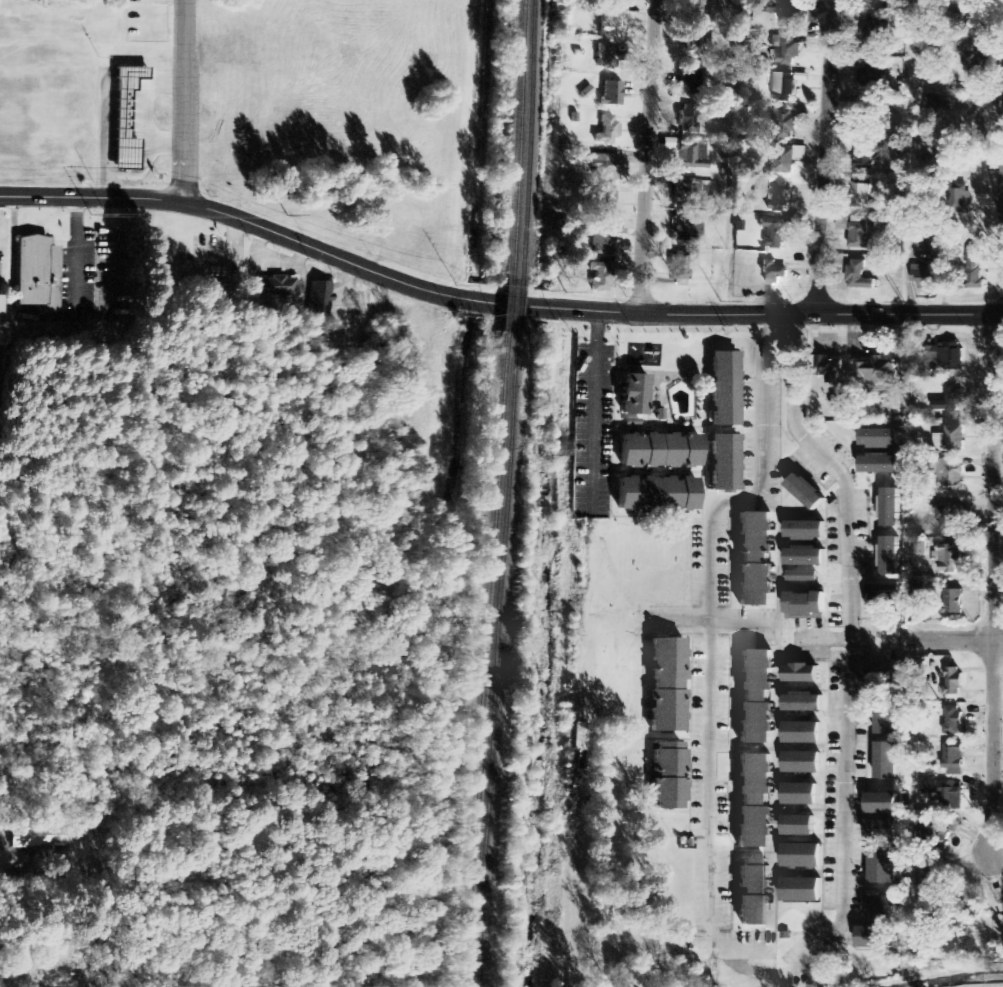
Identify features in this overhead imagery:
building: (691, 11)
building: (783, 12)
building: (611, 22)
building: (877, 28)
building: (698, 45)
building: (786, 50)
building: (608, 56)
building: (972, 61)
building: (872, 79)
building: (690, 83)
building: (783, 88)
building: (585, 92)
building: (610, 93)
road: (182, 102)
building: (688, 119)
building: (785, 123)
building: (606, 131)
railway: (517, 139)
railway: (527, 140)
building: (690, 154)
road: (648, 156)
road: (825, 156)
building: (867, 156)
building: (786, 160)
road: (995, 161)
building: (603, 167)
building: (686, 192)
building: (861, 196)
building: (779, 198)
building: (959, 199)
building: (606, 201)
road: (236, 218)
building: (686, 229)
building: (777, 232)
building: (860, 232)
building: (601, 240)
building: (681, 265)
building: (973, 270)
building: (36, 273)
building: (772, 273)
building: (924, 275)
building: (859, 276)
building: (599, 277)
building: (278, 288)
building: (320, 298)
road: (472, 301)
road: (506, 304)
building: (0, 305)
railway: (507, 305)
railway: (517, 306)
road: (540, 308)
road: (776, 312)
building: (952, 357)
building: (830, 367)
building: (878, 371)
building: (722, 389)
building: (632, 395)
building: (949, 399)
road: (594, 413)
building: (954, 435)
building: (878, 438)
building: (658, 451)
building: (722, 463)
building: (878, 464)
building: (950, 475)
building: (804, 492)
building: (655, 494)
building: (890, 508)
building: (950, 517)
building: (804, 531)
building: (919, 548)
building: (889, 556)
building: (804, 557)
building: (753, 559)
building: (950, 559)
building: (801, 577)
building: (916, 590)
road: (992, 591)
building: (953, 602)
building: (880, 604)
building: (804, 606)
road: (929, 639)
railway: (488, 659)
railway: (497, 660)
building: (800, 674)
building: (878, 680)
building: (953, 682)
building: (665, 686)
building: (754, 697)
building: (802, 703)
building: (886, 717)
building: (953, 721)
building: (801, 733)
building: (953, 760)
building: (886, 761)
building: (801, 763)
building: (666, 776)
building: (799, 795)
building: (950, 797)
building: (753, 801)
building: (880, 804)
building: (797, 826)
building: (881, 832)
building: (41, 837)
building: (936, 837)
building: (801, 857)
building: (882, 867)
building: (800, 891)
building: (752, 893)
building: (880, 907)
building: (1001, 908)
building: (875, 938)

